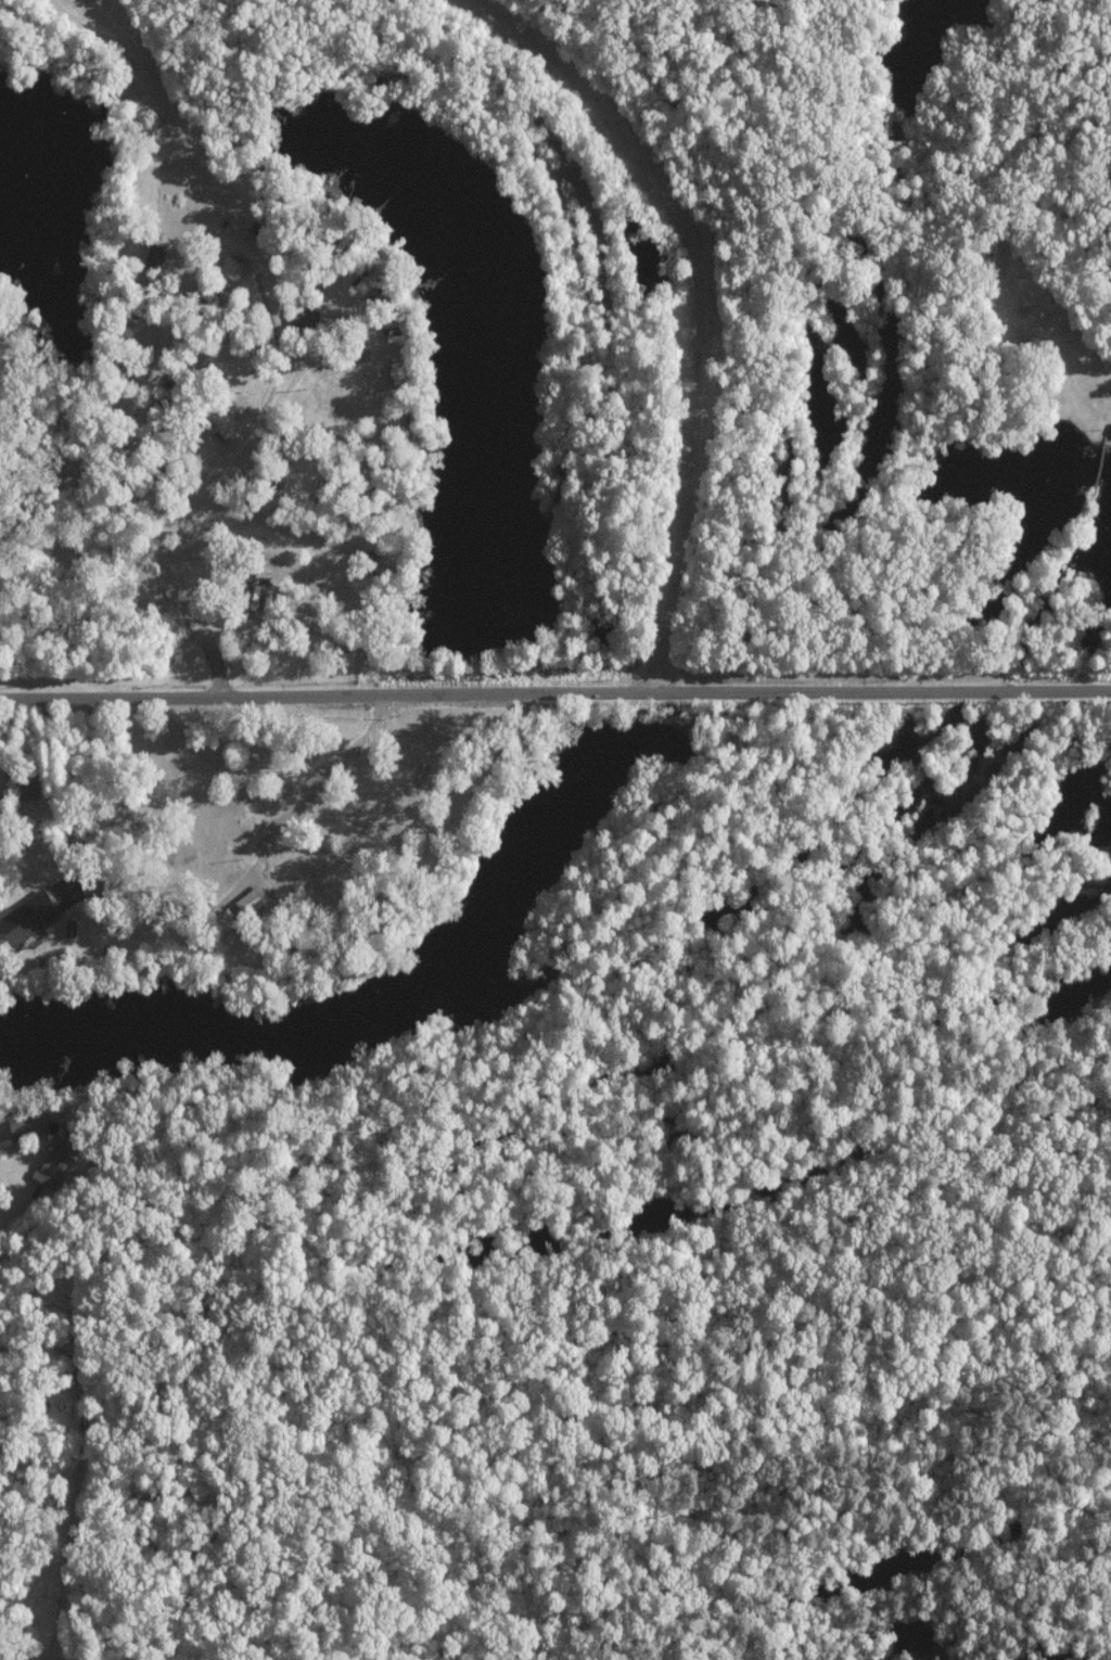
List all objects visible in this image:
building: (152, 255)
building: (229, 267)
road: (180, 295)
road: (281, 320)
road: (347, 533)
road: (554, 691)
building: (248, 899)
building: (25, 918)
road: (255, 950)
building: (21, 1126)
building: (50, 1166)
road: (34, 1658)

